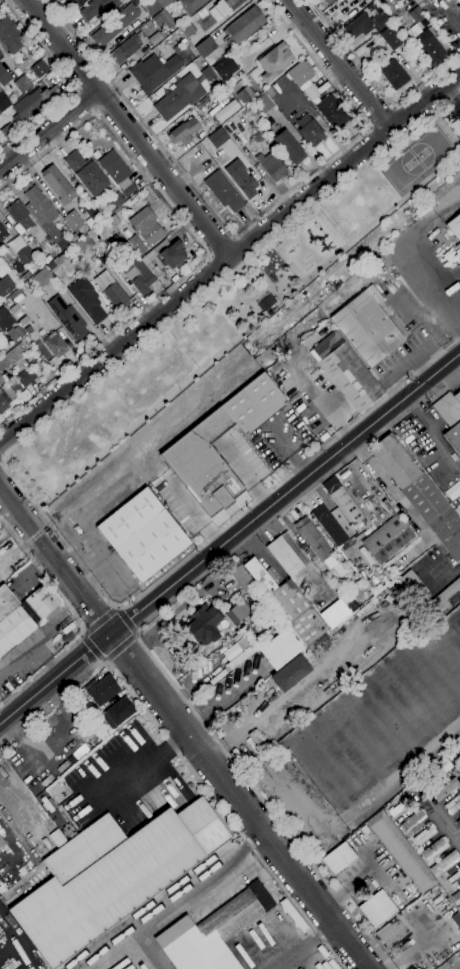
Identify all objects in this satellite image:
building: (432, 0)
road: (5, 1)
building: (415, 1)
building: (418, 1)
building: (327, 2)
building: (75, 3)
building: (162, 3)
building: (457, 3)
building: (188, 7)
building: (223, 8)
building: (97, 10)
building: (415, 15)
building: (162, 20)
parking lot: (444, 20)
building: (366, 23)
building: (146, 24)
building: (114, 25)
building: (242, 27)
building: (186, 28)
building: (9, 35)
building: (190, 35)
building: (155, 38)
building: (390, 38)
building: (428, 47)
building: (125, 48)
building: (205, 49)
building: (175, 50)
building: (0, 53)
building: (274, 62)
building: (186, 63)
road: (338, 64)
building: (39, 69)
building: (224, 69)
building: (153, 72)
building: (299, 73)
building: (393, 75)
building: (4, 77)
road: (67, 82)
building: (22, 84)
building: (230, 86)
road: (376, 87)
building: (311, 92)
building: (244, 95)
building: (178, 98)
building: (3, 101)
building: (33, 103)
road: (84, 103)
building: (263, 103)
building: (225, 110)
building: (331, 112)
road: (380, 117)
road: (126, 130)
road: (48, 131)
building: (309, 131)
building: (8, 132)
building: (183, 132)
building: (216, 137)
building: (257, 138)
building: (288, 147)
park: (431, 149)
building: (270, 166)
park: (403, 171)
building: (117, 172)
building: (85, 173)
building: (240, 178)
building: (57, 184)
building: (223, 191)
building: (43, 215)
building: (19, 216)
building: (73, 220)
road: (246, 225)
building: (147, 226)
building: (454, 227)
building: (3, 232)
building: (126, 233)
building: (73, 237)
building: (112, 239)
road: (195, 241)
building: (32, 244)
building: (83, 244)
building: (136, 245)
road: (219, 246)
building: (25, 256)
building: (170, 256)
road: (399, 257)
building: (46, 259)
road: (230, 260)
building: (57, 261)
building: (115, 265)
building: (42, 277)
building: (140, 278)
building: (5, 285)
building: (111, 290)
building: (86, 299)
building: (264, 302)
park: (224, 316)
building: (68, 318)
building: (4, 320)
building: (366, 327)
building: (27, 330)
building: (15, 334)
building: (54, 344)
building: (14, 353)
building: (347, 372)
building: (25, 377)
building: (1, 380)
building: (457, 397)
building: (5, 398)
building: (254, 404)
road: (428, 428)
building: (453, 438)
road: (2, 457)
building: (203, 463)
road: (10, 475)
road: (243, 476)
road: (389, 488)
building: (419, 494)
building: (342, 501)
road: (8, 522)
building: (329, 525)
building: (142, 535)
railway: (34, 536)
road: (230, 538)
building: (387, 539)
building: (311, 544)
building: (287, 554)
road: (453, 572)
building: (242, 580)
building: (415, 588)
building: (257, 595)
building: (447, 597)
building: (6, 601)
building: (41, 601)
building: (333, 613)
road: (95, 614)
building: (234, 615)
building: (286, 618)
road: (75, 619)
road: (127, 619)
building: (16, 626)
building: (203, 626)
road: (91, 648)
road: (121, 649)
building: (241, 657)
building: (289, 674)
building: (102, 691)
building: (117, 712)
road: (184, 729)
building: (444, 769)
road: (133, 773)
building: (446, 787)
road: (262, 801)
building: (453, 804)
building: (394, 810)
road: (14, 811)
road: (221, 811)
building: (412, 819)
road: (444, 824)
building: (459, 825)
building: (424, 834)
building: (1, 843)
building: (433, 849)
building: (401, 852)
building: (338, 858)
building: (444, 863)
building: (454, 876)
building: (111, 877)
building: (455, 896)
road: (181, 898)
building: (458, 908)
building: (377, 909)
building: (454, 918)
building: (212, 932)
building: (391, 933)
road: (304, 947)
road: (450, 961)

